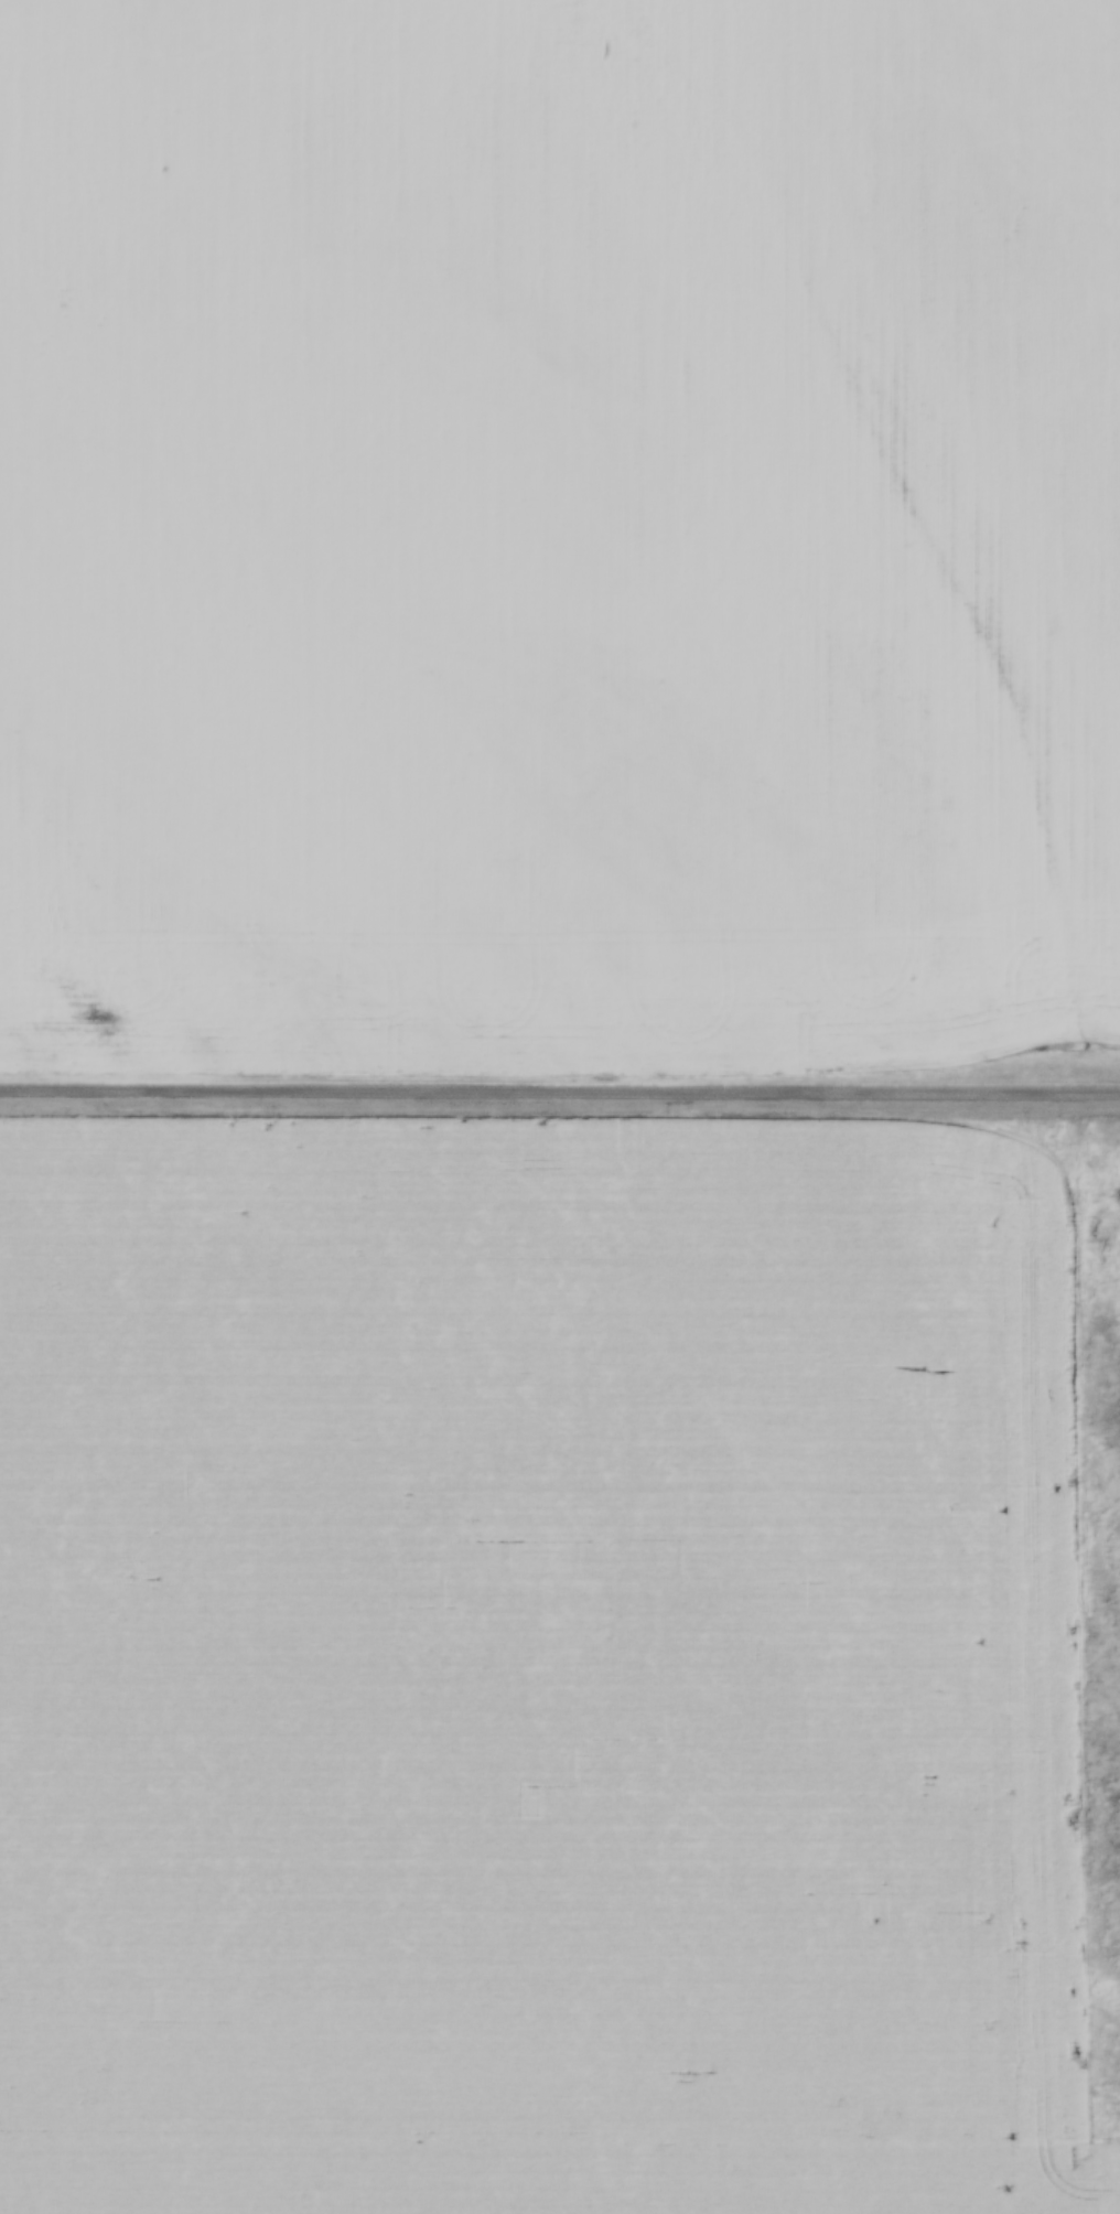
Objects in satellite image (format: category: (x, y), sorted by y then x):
road: (559, 1122)

